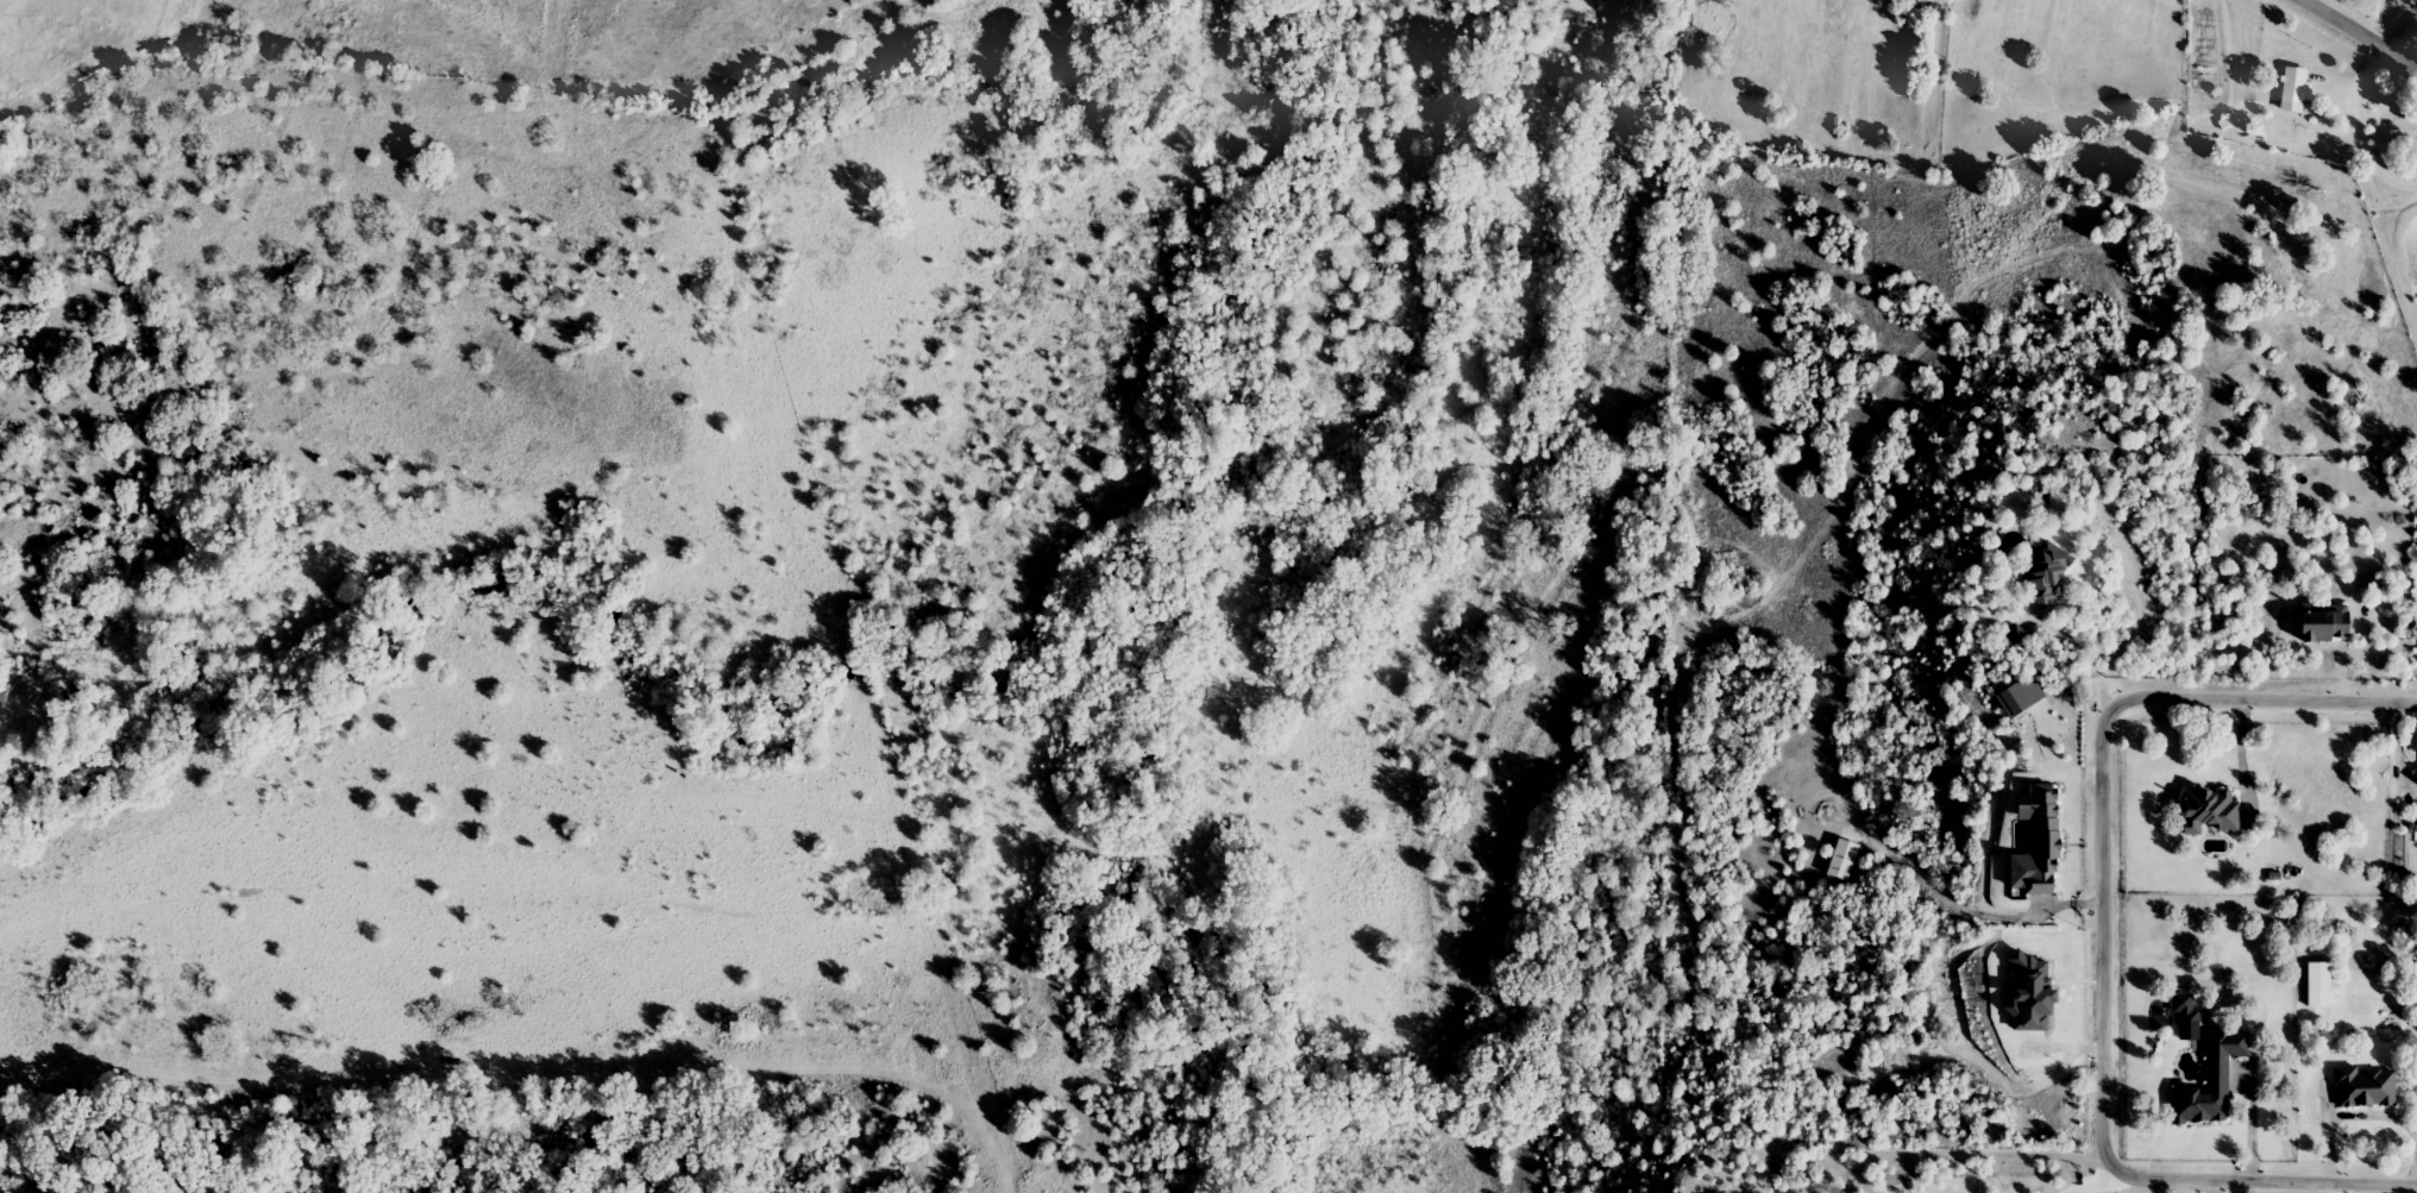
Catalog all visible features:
road: (2360, 36)
building: (2294, 90)
road: (2368, 151)
building: (2051, 577)
building: (2329, 624)
road: (2082, 647)
building: (2214, 811)
road: (2040, 905)
road: (2101, 927)
building: (2189, 1011)
building: (2214, 1082)
building: (2368, 1087)
road: (2252, 1126)
road: (984, 1128)
road: (1971, 1155)

